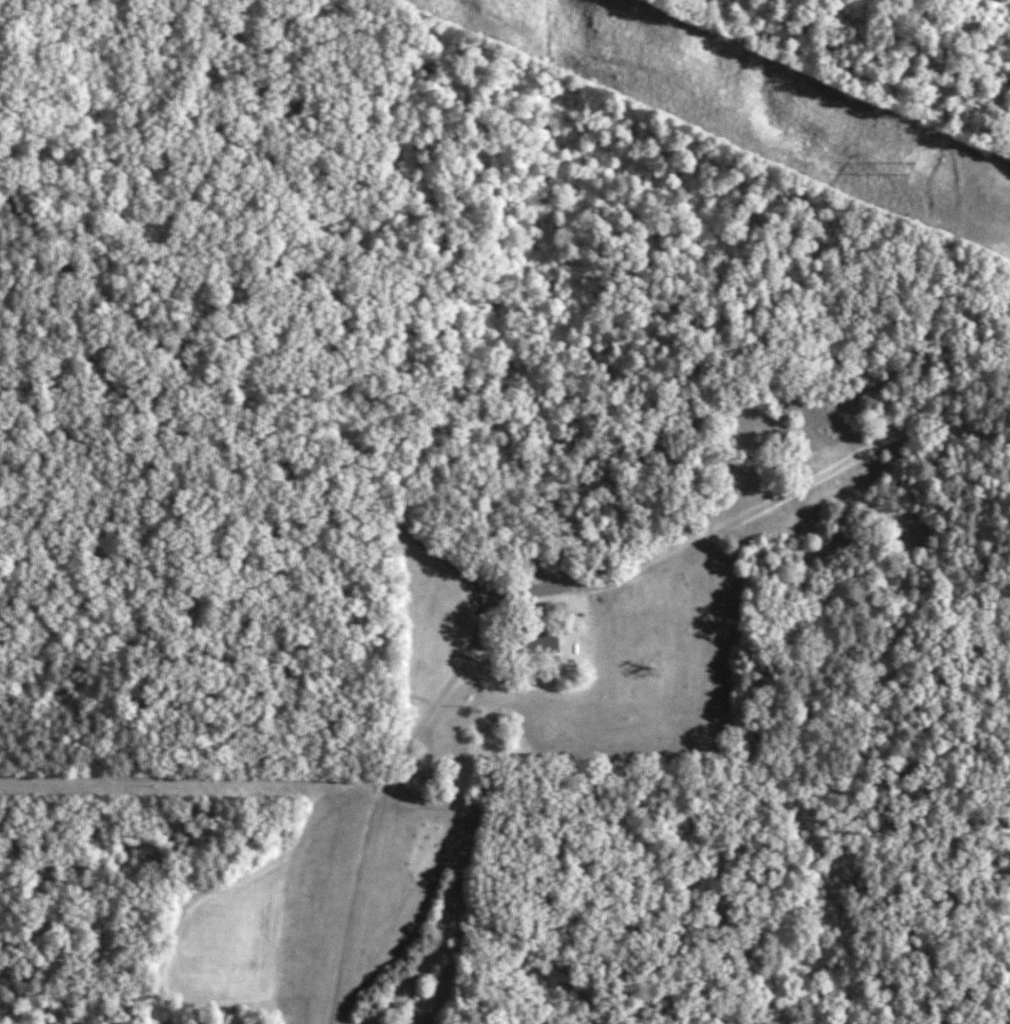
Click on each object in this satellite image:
power tower: (906, 165)
road: (314, 783)

